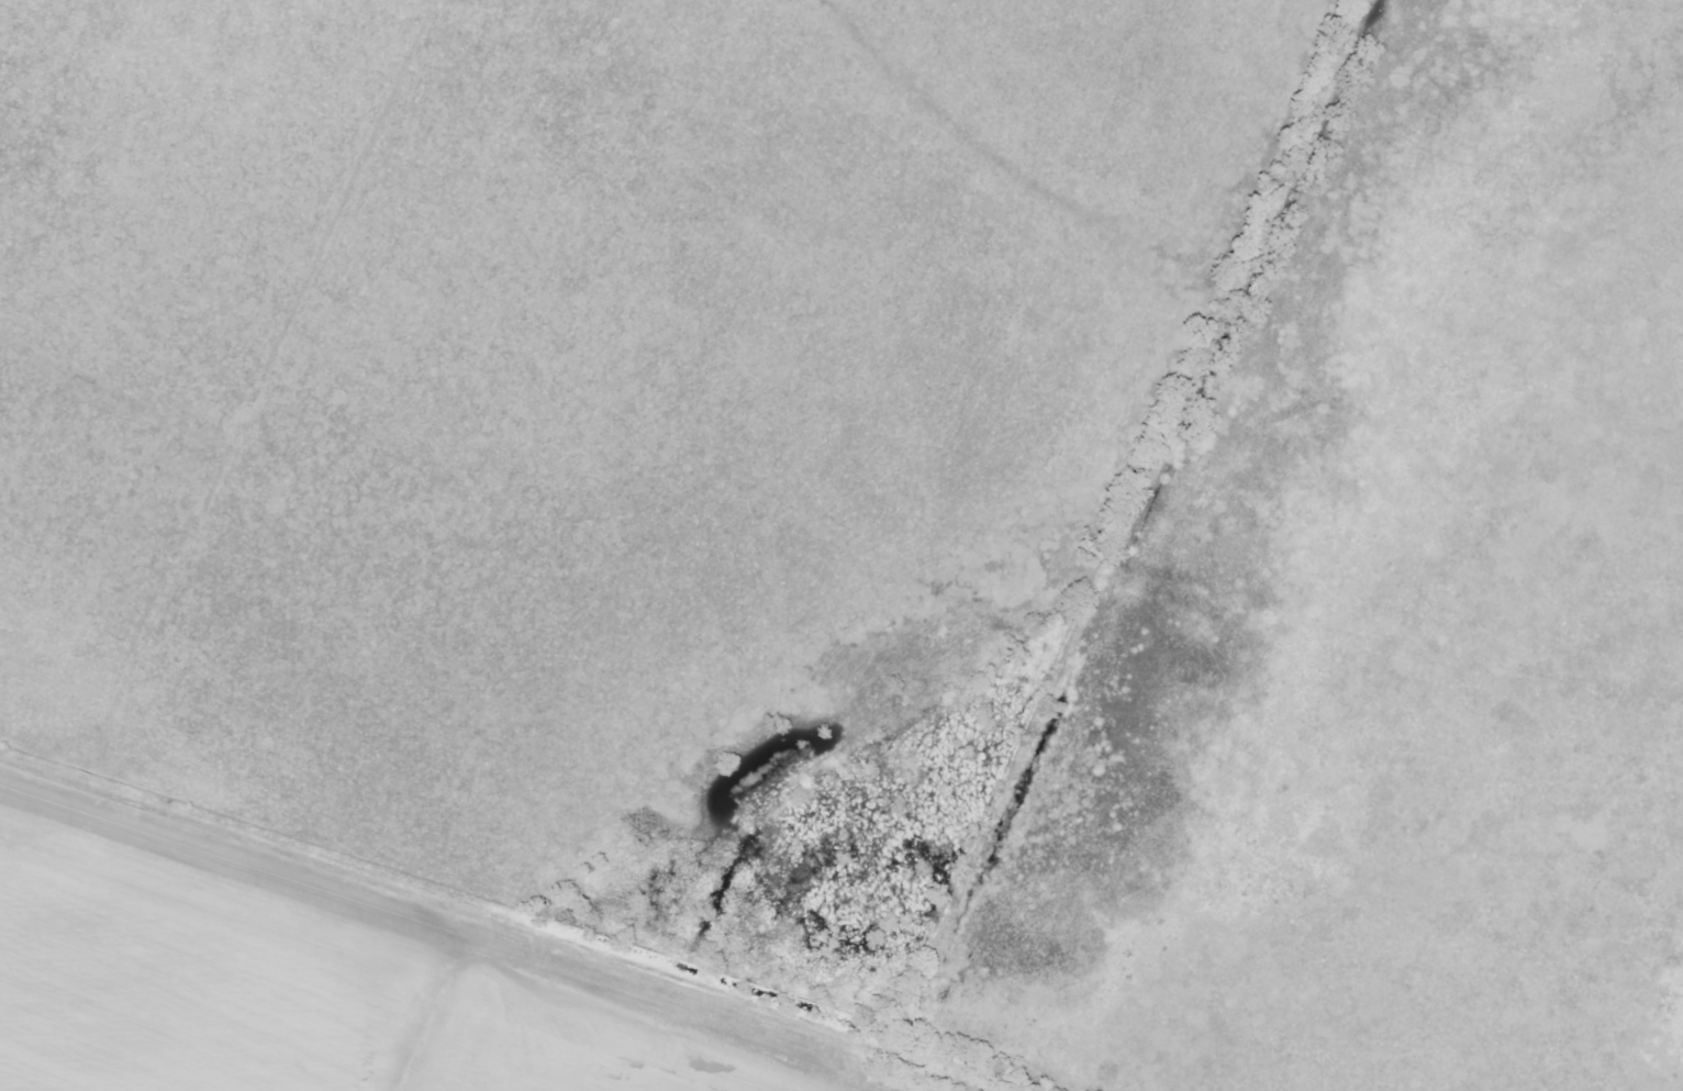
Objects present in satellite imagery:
railway: (483, 934)

